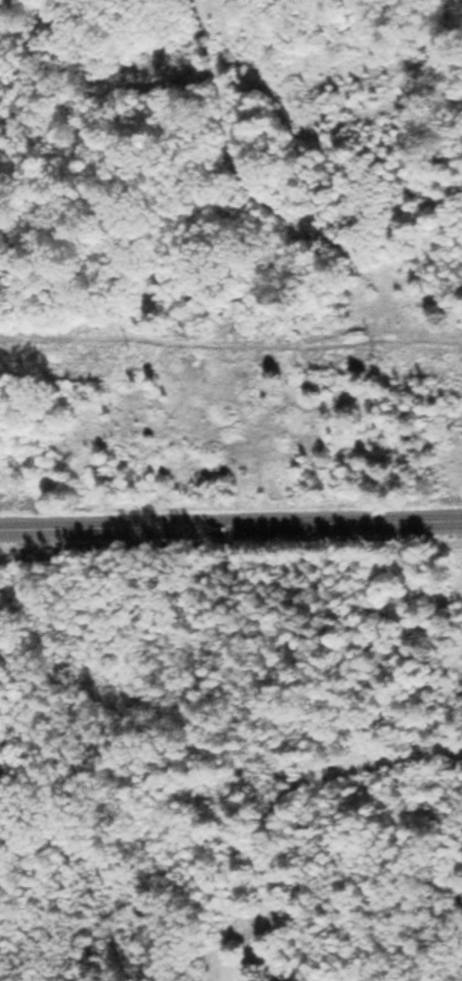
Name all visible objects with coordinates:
road: (231, 522)

